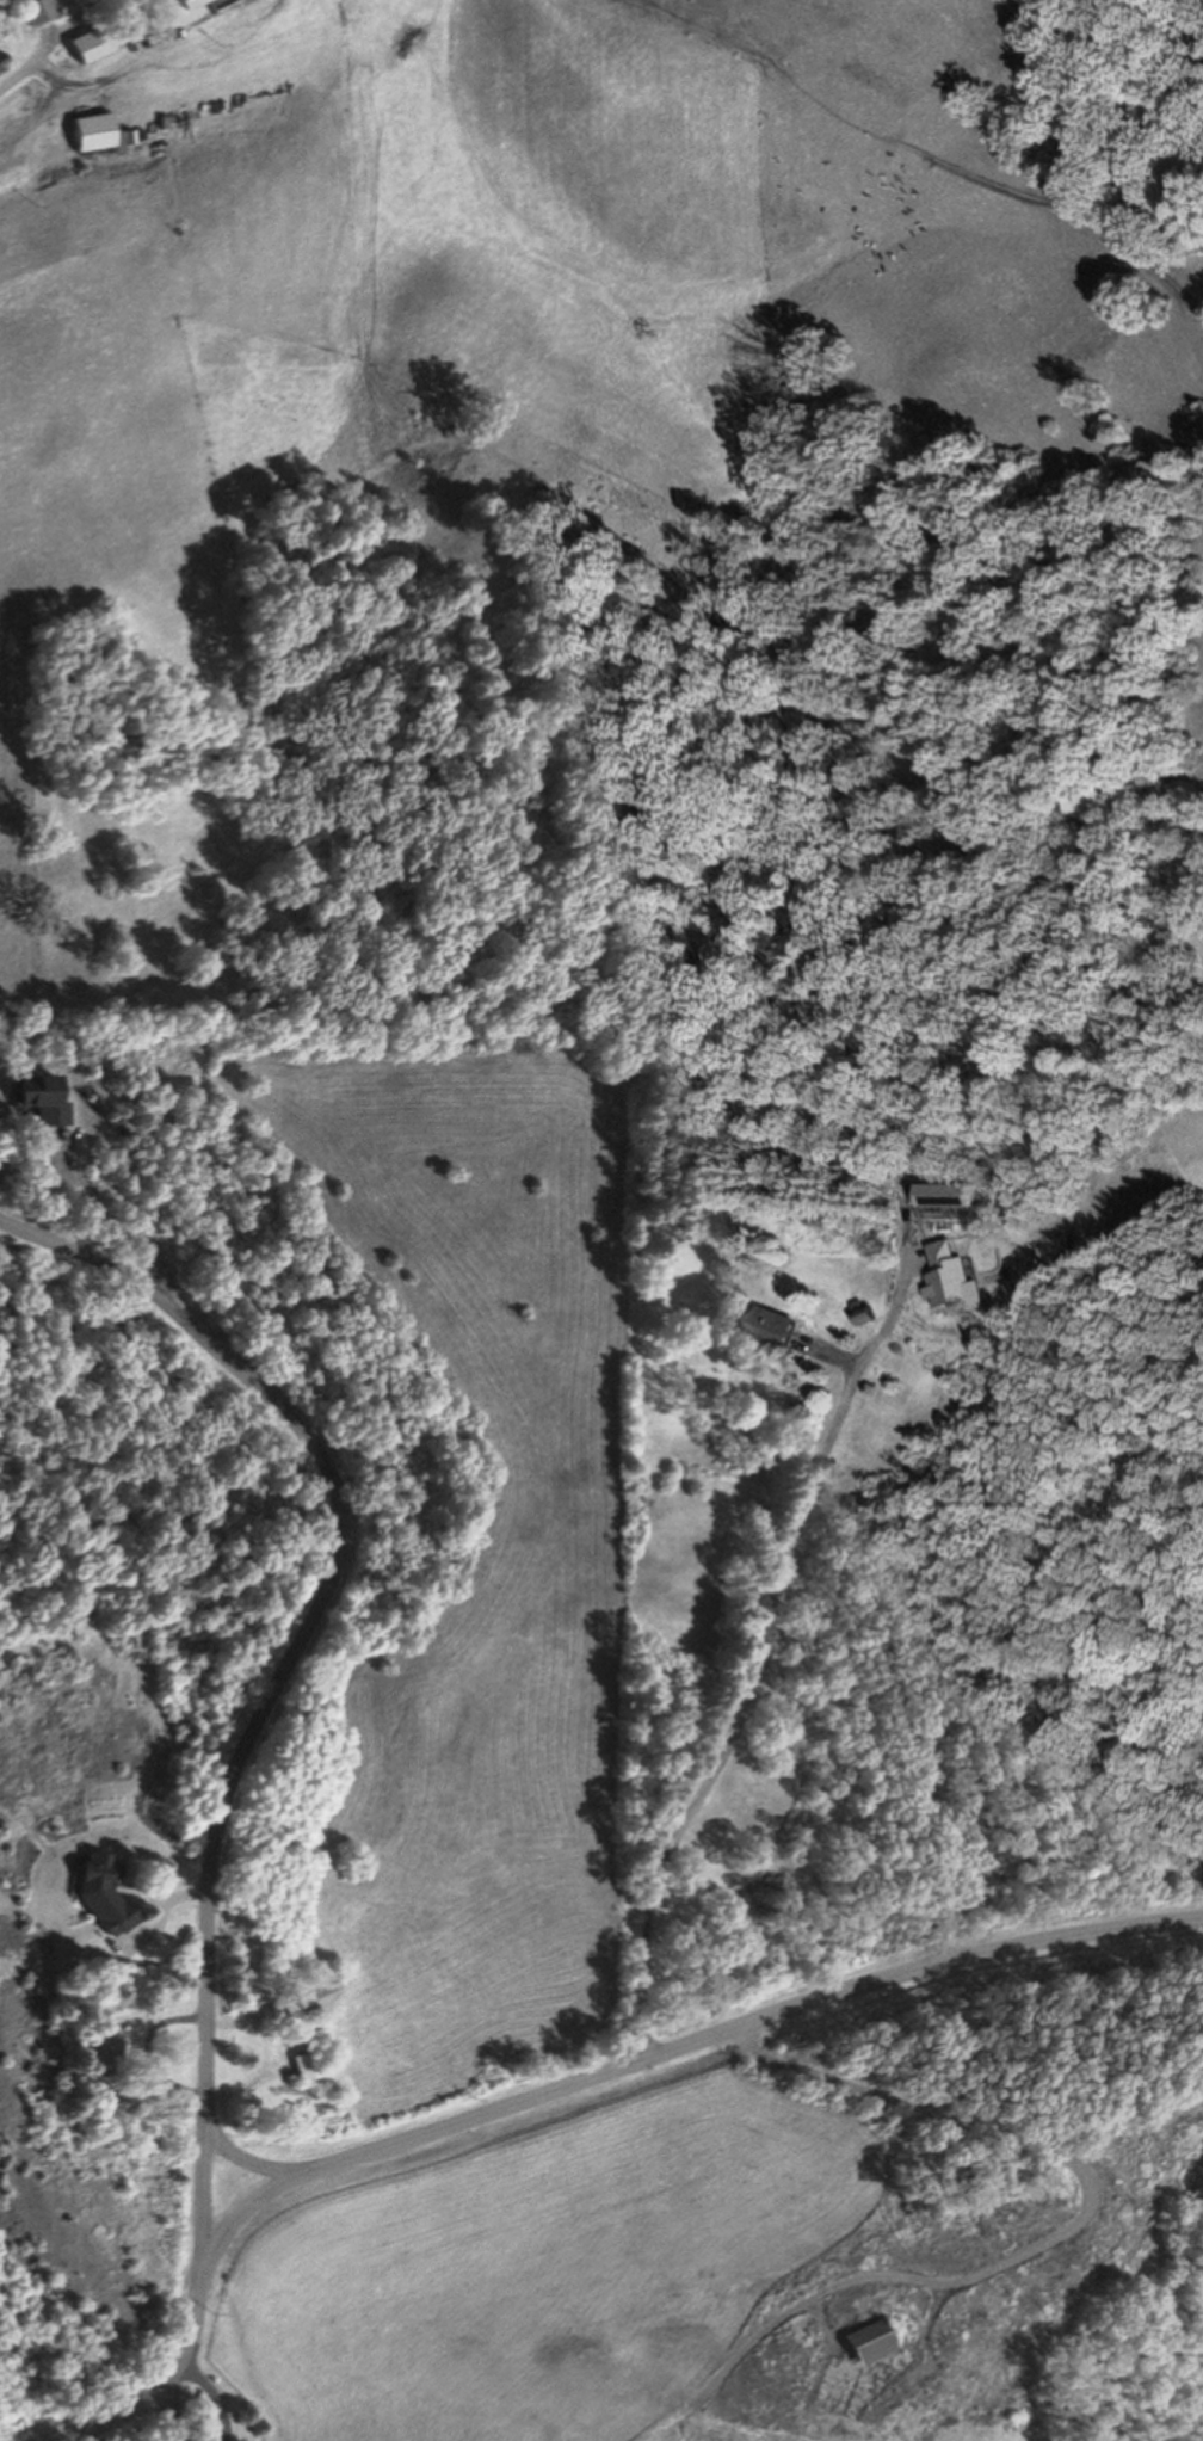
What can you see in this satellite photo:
building: (191, 2)
building: (41, 10)
building: (91, 39)
building: (4, 56)
road: (36, 68)
building: (166, 118)
building: (155, 123)
building: (103, 131)
building: (42, 1096)
road: (107, 1221)
building: (864, 1311)
building: (773, 1325)
road: (286, 1666)
road: (759, 1690)
building: (104, 1891)
building: (239, 1989)
building: (300, 1998)
building: (99, 2048)
building: (304, 2064)
road: (565, 2088)
building: (117, 2103)
building: (1198, 2125)
road: (237, 2158)
building: (1066, 2193)
building: (1012, 2208)
building: (962, 2233)
building: (1045, 2263)
building: (865, 2340)
road: (212, 2392)
road: (174, 2411)

